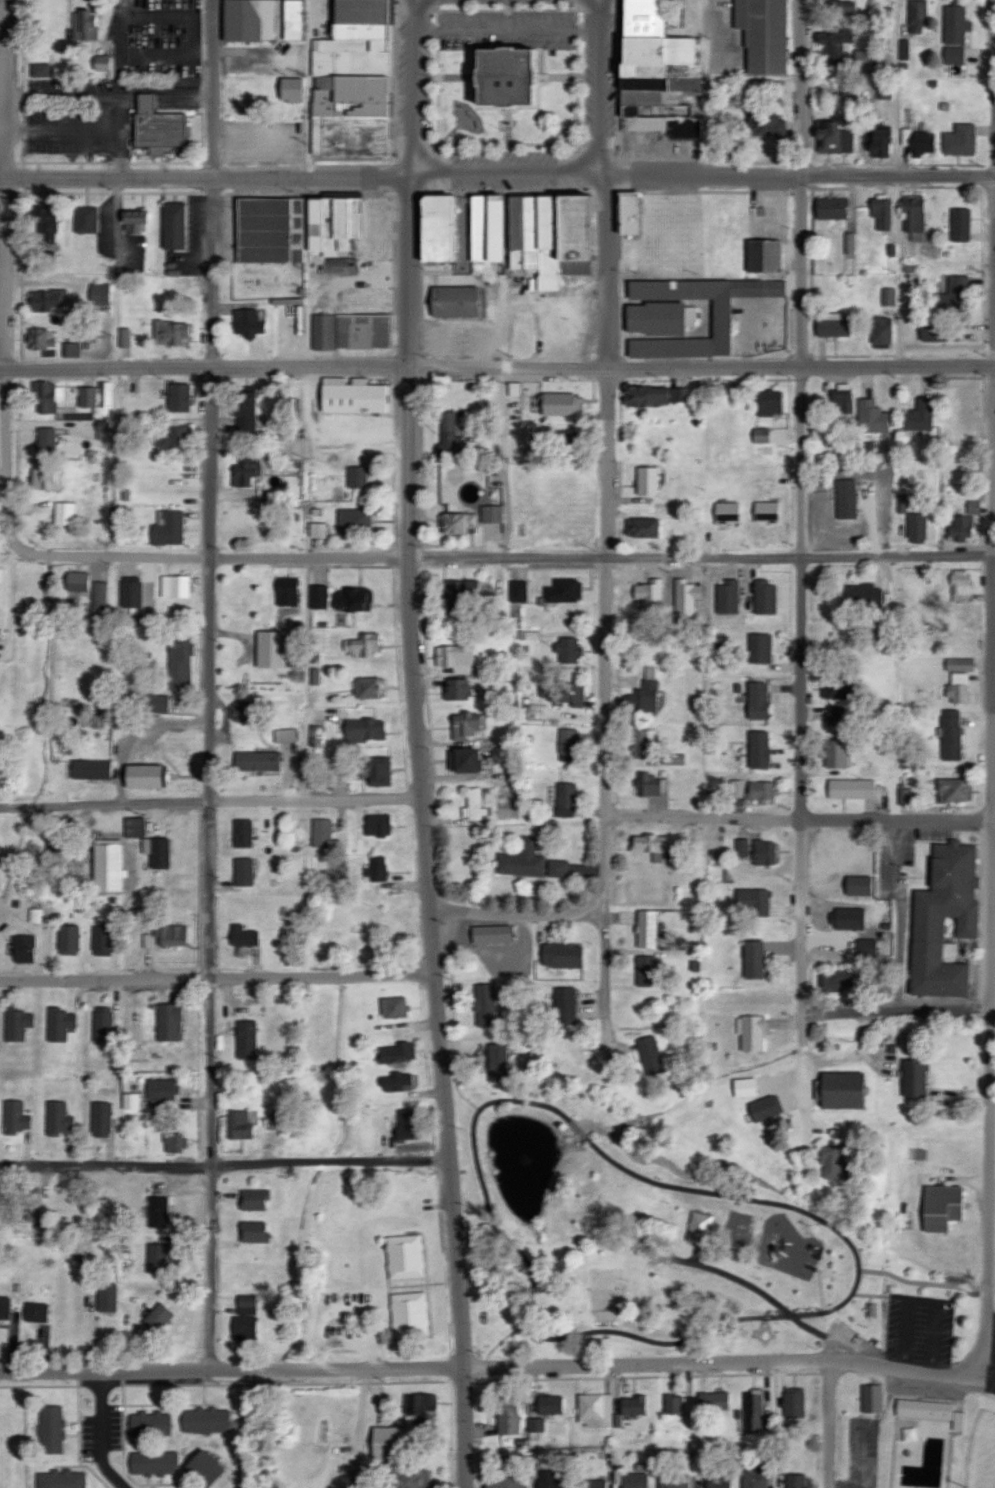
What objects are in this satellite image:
building: (840, 7)
building: (917, 16)
building: (260, 20)
building: (85, 25)
building: (955, 25)
building: (767, 36)
building: (834, 43)
building: (953, 55)
building: (863, 59)
building: (102, 63)
building: (39, 69)
building: (653, 73)
building: (506, 76)
building: (350, 82)
road: (6, 89)
road: (212, 89)
building: (291, 89)
road: (413, 89)
road: (608, 89)
road: (805, 89)
road: (109, 93)
building: (764, 123)
building: (156, 127)
building: (834, 137)
building: (959, 140)
building: (878, 143)
building: (921, 143)
road: (899, 178)
road: (402, 179)
building: (831, 208)
building: (881, 212)
building: (625, 214)
building: (913, 216)
building: (134, 218)
building: (84, 220)
building: (47, 222)
building: (959, 225)
building: (172, 226)
building: (296, 228)
building: (485, 228)
building: (435, 229)
building: (549, 237)
building: (849, 243)
building: (763, 256)
building: (98, 294)
building: (888, 296)
building: (953, 297)
building: (47, 299)
building: (452, 301)
building: (658, 318)
building: (720, 319)
building: (246, 323)
building: (832, 326)
building: (880, 330)
building: (349, 332)
building: (938, 332)
building: (170, 333)
building: (39, 338)
building: (124, 338)
building: (72, 350)
road: (899, 369)
road: (401, 370)
road: (6, 378)
building: (513, 389)
building: (105, 394)
building: (43, 396)
building: (351, 396)
building: (655, 396)
building: (87, 397)
building: (177, 398)
building: (842, 399)
building: (768, 403)
building: (556, 404)
building: (244, 412)
building: (919, 416)
building: (871, 417)
building: (760, 435)
building: (173, 437)
building: (448, 437)
building: (45, 441)
building: (567, 442)
building: (245, 471)
building: (356, 477)
building: (46, 479)
building: (646, 481)
building: (845, 499)
building: (726, 512)
building: (64, 514)
building: (491, 514)
building: (353, 521)
building: (457, 523)
building: (167, 528)
building: (641, 528)
building: (916, 528)
building: (959, 529)
building: (318, 530)
road: (423, 556)
road: (899, 560)
building: (77, 581)
building: (175, 586)
building: (960, 586)
building: (517, 591)
building: (563, 591)
building: (286, 592)
building: (130, 594)
building: (459, 596)
building: (862, 596)
building: (319, 597)
building: (649, 597)
building: (685, 597)
building: (726, 598)
building: (763, 598)
building: (352, 600)
building: (99, 601)
road: (607, 620)
road: (802, 636)
building: (363, 646)
building: (758, 647)
building: (271, 649)
building: (566, 649)
building: (455, 658)
building: (179, 663)
building: (958, 664)
building: (835, 686)
building: (369, 687)
building: (957, 687)
building: (454, 688)
building: (562, 693)
building: (643, 693)
building: (756, 700)
building: (149, 703)
building: (242, 711)
building: (834, 713)
building: (464, 725)
building: (364, 729)
building: (949, 734)
building: (285, 735)
building: (318, 736)
building: (643, 743)
building: (566, 745)
building: (757, 749)
building: (834, 754)
building: (672, 759)
building: (256, 760)
building: (464, 760)
building: (0, 762)
building: (90, 769)
building: (375, 770)
road: (212, 775)
building: (143, 776)
building: (649, 785)
building: (736, 788)
building: (850, 789)
building: (954, 790)
building: (761, 791)
building: (564, 800)
road: (210, 804)
building: (474, 805)
road: (704, 818)
road: (896, 821)
building: (376, 825)
building: (134, 827)
building: (242, 833)
building: (320, 833)
road: (423, 834)
building: (652, 845)
building: (54, 846)
building: (741, 847)
building: (156, 851)
building: (763, 852)
building: (521, 861)
building: (106, 865)
building: (376, 868)
building: (557, 868)
building: (243, 871)
building: (856, 885)
building: (753, 900)
building: (36, 915)
road: (517, 918)
building: (847, 918)
building: (926, 927)
building: (645, 929)
building: (490, 933)
building: (173, 935)
building: (242, 936)
building: (68, 940)
building: (102, 940)
building: (865, 947)
building: (22, 949)
road: (989, 954)
building: (560, 955)
building: (752, 959)
building: (645, 971)
road: (273, 979)
building: (836, 981)
road: (57, 982)
building: (881, 988)
road: (115, 1003)
building: (484, 1005)
building: (563, 1006)
building: (392, 1007)
road: (896, 1011)
building: (168, 1022)
building: (16, 1023)
building: (59, 1024)
building: (102, 1025)
building: (750, 1033)
building: (246, 1040)
building: (396, 1053)
building: (649, 1055)
building: (496, 1062)
building: (913, 1079)
building: (396, 1082)
building: (744, 1087)
building: (160, 1089)
building: (840, 1090)
building: (131, 1101)
road: (484, 1107)
building: (763, 1108)
building: (14, 1117)
building: (58, 1118)
building: (277, 1118)
building: (101, 1119)
building: (240, 1124)
building: (404, 1124)
building: (174, 1142)
road: (109, 1145)
fountain: (525, 1157)
building: (834, 1162)
road: (330, 1165)
road: (67, 1168)
road: (161, 1168)
building: (253, 1200)
building: (31, 1206)
building: (939, 1207)
building: (156, 1212)
building: (699, 1227)
building: (253, 1232)
building: (403, 1256)
building: (156, 1258)
park: (738, 1261)
road: (923, 1283)
road: (992, 1290)
road: (769, 1296)
building: (106, 1297)
building: (245, 1304)
building: (4, 1308)
building: (35, 1312)
building: (408, 1313)
building: (156, 1317)
building: (243, 1326)
road: (495, 1368)
road: (992, 1382)
building: (871, 1397)
building: (712, 1400)
building: (793, 1401)
building: (548, 1403)
building: (632, 1404)
building: (678, 1404)
building: (420, 1405)
building: (923, 1408)
building: (595, 1409)
building: (754, 1412)
building: (507, 1414)
building: (204, 1420)
building: (957, 1420)
building: (148, 1423)
building: (535, 1424)
road: (831, 1426)
building: (51, 1429)
road: (101, 1433)
building: (388, 1442)
park: (982, 1453)
building: (153, 1462)
building: (202, 1467)
building: (755, 1475)
building: (410, 1478)
building: (61, 1479)
building: (549, 1479)
building: (634, 1480)
building: (673, 1480)
building: (795, 1480)
building: (504, 1481)
building: (717, 1482)
building: (591, 1483)

